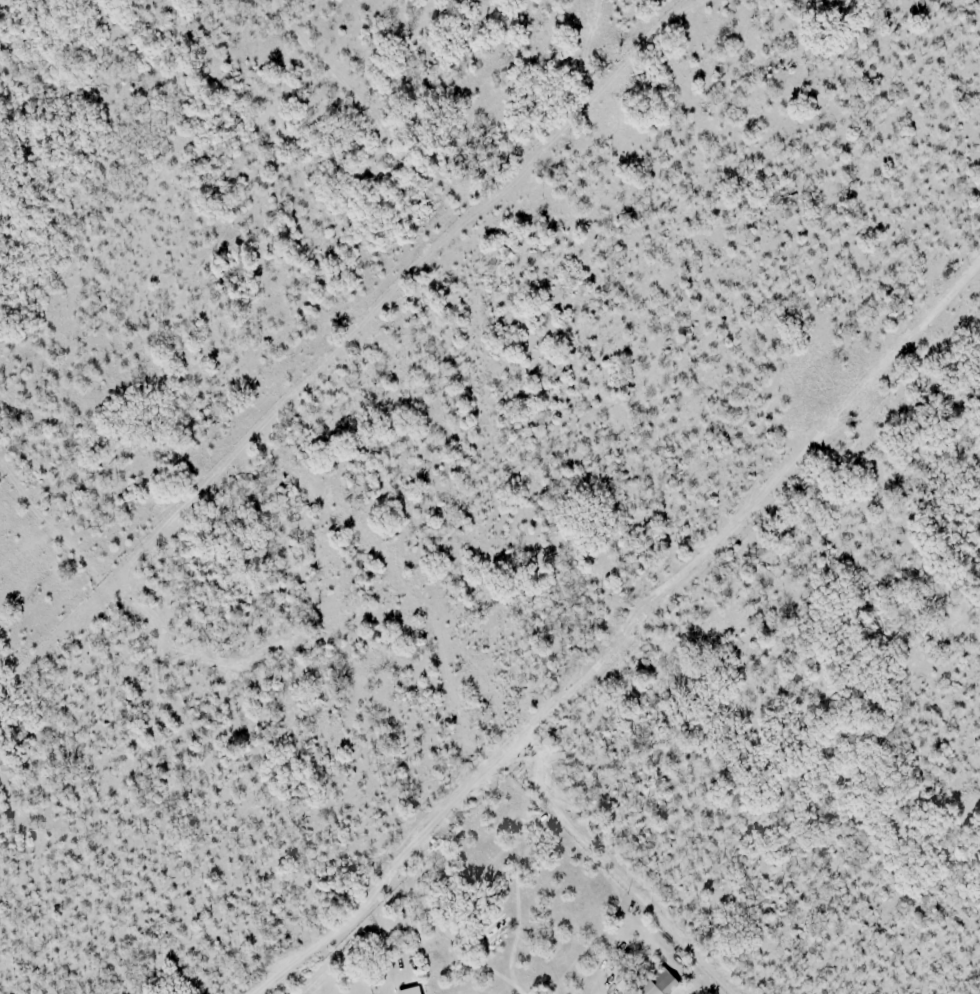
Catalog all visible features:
building: (495, 927)
building: (659, 983)

